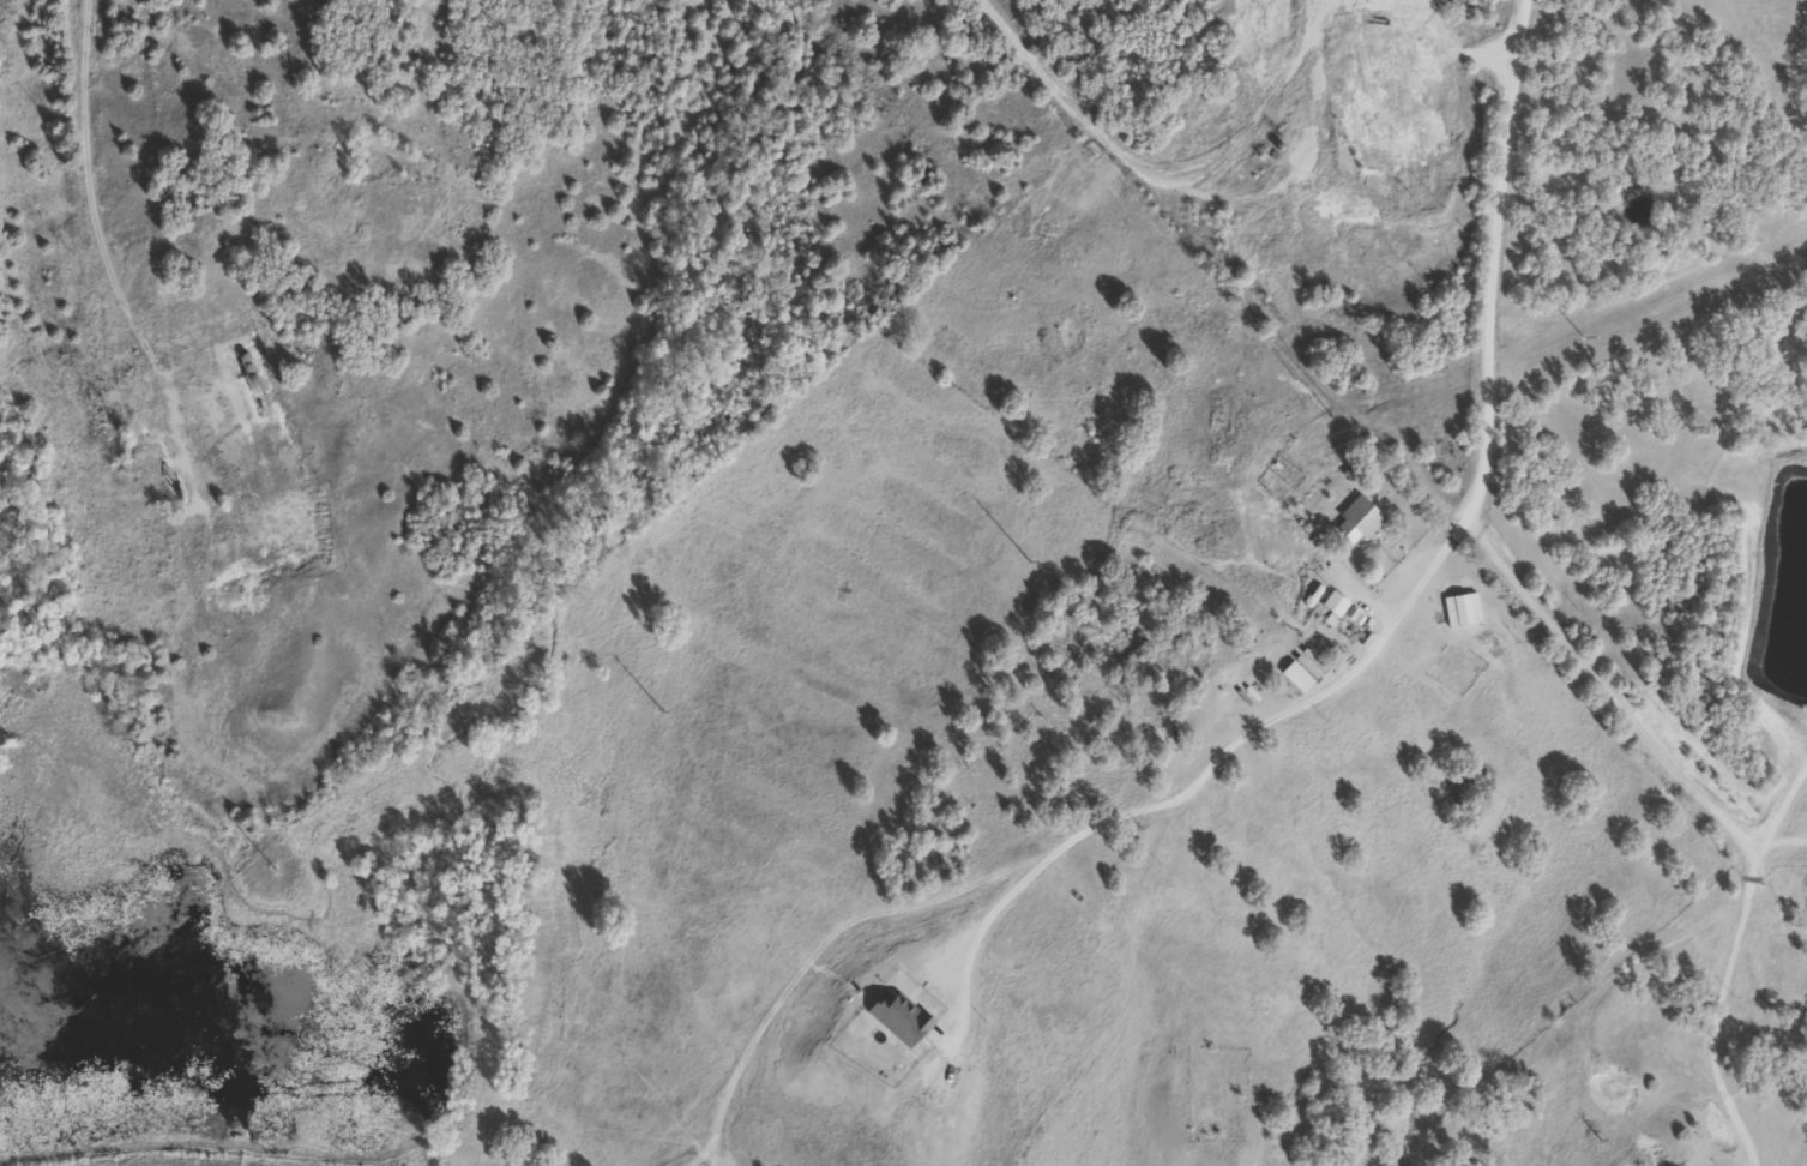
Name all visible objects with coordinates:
building: (1398, 17)
road: (1368, 34)
road: (1511, 196)
road: (116, 278)
power tower: (1577, 335)
power tower: (1351, 428)
building: (1353, 521)
power tower: (1029, 561)
building: (1125, 661)
road: (1562, 668)
power tower: (659, 709)
power tower: (271, 867)
road: (1723, 1045)

